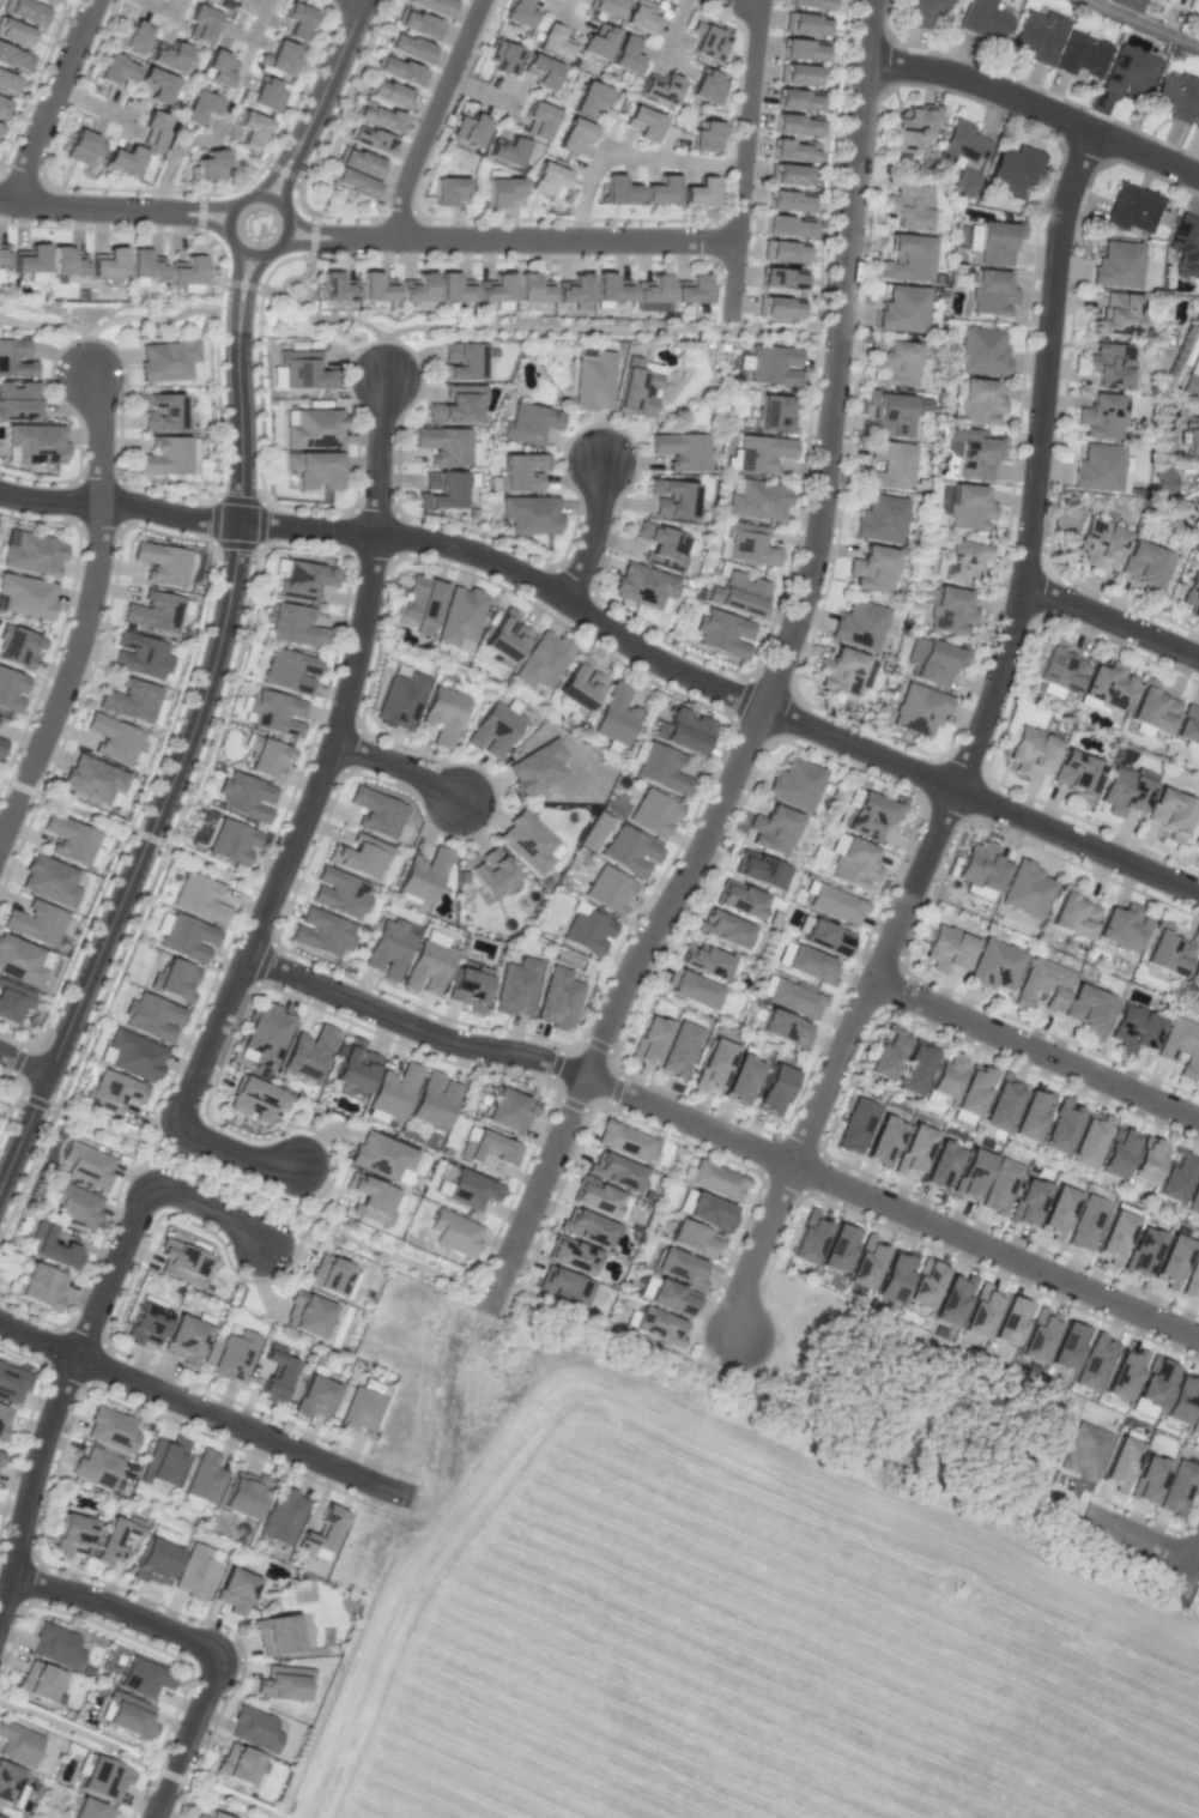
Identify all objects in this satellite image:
building: (1107, 0)
building: (48, 1)
street lamp: (773, 2)
building: (810, 4)
building: (1128, 4)
building: (1179, 4)
building: (237, 5)
road: (745, 5)
building: (926, 5)
street lamp: (110, 6)
building: (432, 6)
road: (161, 7)
road: (565, 7)
building: (606, 7)
building: (24, 11)
building: (516, 12)
building: (640, 16)
building: (983, 19)
building: (297, 20)
building: (200, 23)
building: (417, 23)
road: (1144, 23)
building: (805, 24)
building: (14, 32)
building: (1037, 35)
road: (671, 36)
building: (132, 37)
road: (255, 37)
building: (551, 42)
building: (597, 42)
building: (708, 42)
building: (407, 47)
building: (801, 49)
building: (625, 54)
building: (1082, 54)
building: (168, 55)
building: (501, 56)
building: (281, 58)
building: (13, 59)
road: (334, 66)
building: (115, 68)
building: (218, 68)
building: (398, 70)
building: (539, 71)
building: (1130, 71)
building: (798, 74)
building: (7, 83)
building: (156, 84)
building: (707, 86)
building: (659, 87)
road: (482, 91)
building: (387, 92)
building: (267, 95)
building: (1176, 97)
building: (589, 98)
building: (797, 99)
road: (50, 101)
road: (95, 104)
building: (2, 105)
road: (1035, 105)
building: (199, 107)
building: (377, 116)
road: (434, 116)
building: (538, 119)
building: (642, 122)
building: (0, 125)
building: (795, 125)
building: (1197, 125)
building: (913, 126)
building: (250, 128)
building: (156, 129)
building: (468, 129)
building: (574, 134)
building: (707, 137)
building: (369, 139)
building: (83, 146)
road: (176, 150)
building: (505, 150)
building: (793, 150)
building: (963, 155)
road: (629, 157)
building: (123, 159)
road: (743, 159)
building: (359, 162)
road: (278, 163)
building: (211, 164)
building: (1012, 168)
road: (292, 170)
building: (788, 174)
building: (547, 180)
building: (352, 182)
street lamp: (390, 186)
street lamp: (295, 187)
building: (447, 189)
building: (499, 189)
building: (618, 191)
building: (661, 191)
building: (700, 192)
street lamp: (213, 194)
building: (786, 200)
building: (908, 206)
road: (84, 207)
road: (202, 207)
building: (1131, 207)
road: (281, 210)
street lamp: (11, 221)
road: (200, 221)
street lamp: (87, 224)
building: (786, 225)
road: (316, 229)
street lamp: (750, 231)
road: (543, 238)
building: (994, 242)
street lamp: (1076, 242)
road: (316, 244)
building: (1185, 244)
building: (783, 250)
street lamp: (303, 252)
building: (2, 254)
street lamp: (398, 255)
building: (907, 258)
building: (30, 259)
building: (66, 261)
building: (108, 261)
building: (145, 264)
building: (1116, 265)
building: (187, 273)
building: (780, 278)
building: (375, 286)
building: (453, 286)
building: (417, 288)
building: (531, 289)
building: (337, 290)
building: (496, 290)
building: (574, 290)
building: (608, 290)
building: (691, 290)
road: (236, 292)
building: (989, 292)
building: (650, 294)
road: (247, 295)
building: (777, 308)
building: (902, 309)
building: (1119, 314)
park: (110, 318)
park: (471, 318)
road: (108, 321)
street lamp: (255, 321)
building: (1195, 324)
building: (981, 351)
road: (89, 354)
building: (14, 358)
building: (168, 361)
building: (461, 361)
building: (896, 363)
building: (771, 364)
building: (1108, 366)
building: (303, 369)
building: (593, 381)
building: (1191, 381)
building: (636, 388)
building: (18, 400)
building: (977, 401)
building: (456, 404)
building: (159, 410)
building: (774, 413)
building: (888, 413)
street lamp: (223, 416)
building: (1100, 416)
building: (529, 423)
building: (314, 428)
road: (98, 436)
building: (1191, 437)
building: (35, 443)
building: (443, 443)
building: (682, 451)
building: (973, 452)
building: (761, 453)
road: (379, 454)
building: (166, 455)
building: (890, 465)
building: (1097, 467)
building: (316, 469)
building: (521, 471)
building: (1162, 479)
building: (442, 488)
street lamp: (1053, 488)
building: (673, 499)
road: (49, 500)
building: (757, 500)
building: (967, 507)
building: (529, 514)
building: (1198, 515)
building: (880, 519)
road: (236, 520)
road: (593, 534)
building: (1098, 542)
building: (746, 544)
building: (662, 545)
street lamp: (333, 548)
building: (31, 552)
street lamp: (252, 560)
building: (961, 561)
building: (162, 562)
building: (1144, 563)
building: (872, 568)
building: (302, 579)
street lamp: (74, 582)
building: (643, 585)
building: (738, 593)
building: (26, 596)
street lamp: (1000, 596)
building: (419, 603)
street lamp: (549, 611)
building: (950, 611)
building: (153, 612)
building: (459, 617)
road: (1109, 620)
building: (858, 624)
building: (295, 626)
building: (723, 633)
building: (505, 638)
building: (19, 647)
building: (140, 656)
building: (541, 660)
building: (937, 663)
road: (1000, 663)
street lamp: (759, 668)
building: (1056, 669)
building: (289, 670)
building: (840, 671)
road: (65, 674)
street lamp: (655, 680)
road: (771, 681)
street lamp: (188, 684)
building: (577, 684)
building: (1106, 685)
building: (11, 689)
street lamp: (1011, 694)
building: (131, 700)
building: (399, 700)
street lamp: (77, 702)
building: (1151, 707)
building: (918, 708)
building: (274, 713)
building: (442, 714)
road: (782, 714)
building: (614, 715)
building: (1187, 724)
building: (492, 730)
building: (684, 731)
building: (113, 738)
building: (1, 744)
building: (1030, 749)
building: (267, 757)
road: (398, 763)
building: (535, 767)
building: (659, 767)
road: (174, 774)
building: (1073, 774)
park: (4, 777)
road: (4, 778)
building: (92, 778)
building: (794, 784)
road: (22, 786)
street lamp: (909, 789)
building: (1125, 790)
building: (246, 796)
street lamp: (498, 802)
street lamp: (1036, 804)
park: (84, 811)
road: (84, 811)
building: (375, 811)
building: (653, 813)
building: (1169, 813)
building: (868, 814)
street lamp: (170, 829)
building: (771, 829)
road: (147, 835)
road: (296, 835)
building: (1195, 835)
building: (68, 839)
building: (231, 841)
building: (528, 841)
building: (629, 851)
building: (1198, 852)
building: (358, 856)
road: (207, 863)
building: (854, 864)
park: (207, 865)
building: (981, 866)
building: (758, 869)
building: (488, 871)
building: (422, 875)
building: (49, 880)
building: (607, 889)
building: (1025, 889)
building: (338, 892)
street lamp: (931, 892)
building: (198, 898)
building: (739, 898)
building: (835, 904)
building: (1071, 913)
building: (37, 923)
building: (722, 928)
building: (1120, 928)
building: (587, 931)
building: (321, 932)
building: (184, 936)
building: (825, 937)
building: (387, 949)
building: (946, 949)
building: (1165, 949)
building: (20, 960)
building: (703, 960)
building: (810, 965)
building: (994, 965)
building: (426, 967)
street lamp: (856, 967)
building: (1194, 968)
building: (174, 980)
building: (468, 983)
building: (1041, 984)
building: (515, 986)
building: (690, 989)
building: (558, 998)
building: (793, 998)
building: (12, 1002)
building: (1086, 1009)
building: (151, 1017)
street lamp: (346, 1017)
street lamp: (916, 1019)
building: (783, 1028)
building: (1133, 1028)
building: (265, 1035)
street lamp: (1049, 1035)
building: (648, 1039)
street lamp: (618, 1040)
building: (1180, 1045)
building: (679, 1049)
road: (1036, 1049)
building: (307, 1052)
building: (885, 1053)
building: (132, 1055)
road: (24, 1062)
street lamp: (219, 1062)
building: (711, 1064)
building: (353, 1068)
building: (913, 1068)
building: (945, 1075)
building: (740, 1079)
street lamp: (847, 1079)
building: (1198, 1082)
park: (12, 1087)
building: (774, 1089)
building: (111, 1091)
building: (393, 1091)
building: (971, 1091)
building: (255, 1099)
building: (432, 1100)
building: (508, 1111)
building: (1029, 1115)
street lamp: (1147, 1117)
building: (855, 1125)
building: (1058, 1127)
street lamp: (156, 1133)
road: (725, 1135)
street lamp: (769, 1135)
street lamp: (682, 1136)
building: (623, 1140)
building: (883, 1140)
building: (1086, 1140)
building: (485, 1147)
building: (913, 1150)
road: (231, 1152)
building: (1115, 1154)
building: (380, 1155)
building: (1146, 1160)
building: (84, 1165)
building: (939, 1165)
building: (613, 1171)
building: (971, 1172)
building: (1173, 1176)
building: (716, 1180)
building: (999, 1185)
building: (470, 1190)
street lamp: (816, 1194)
building: (1192, 1194)
street lamp: (912, 1195)
park: (264, 1197)
road: (261, 1198)
building: (371, 1198)
building: (599, 1198)
building: (1025, 1201)
street lamp: (119, 1202)
building: (75, 1204)
building: (709, 1210)
road: (207, 1212)
building: (1056, 1212)
building: (1084, 1221)
building: (586, 1227)
building: (454, 1233)
building: (1114, 1233)
building: (807, 1237)
building: (691, 1238)
building: (52, 1246)
road: (758, 1248)
building: (836, 1248)
building: (1143, 1250)
building: (570, 1254)
building: (1171, 1261)
building: (181, 1262)
building: (865, 1262)
building: (679, 1267)
building: (328, 1274)
building: (892, 1275)
street lamp: (1012, 1276)
building: (1192, 1278)
building: (924, 1284)
building: (562, 1285)
building: (41, 1286)
street lamp: (1140, 1293)
building: (672, 1297)
building: (951, 1299)
building: (307, 1313)
building: (1010, 1321)
building: (145, 1323)
building: (656, 1324)
street lamp: (107, 1325)
building: (1036, 1337)
building: (184, 1339)
building: (1067, 1345)
building: (235, 1355)
building: (1094, 1361)
building: (273, 1371)
building: (1124, 1372)
building: (1153, 1382)
building: (12, 1383)
building: (314, 1396)
road: (56, 1397)
building: (1180, 1399)
road: (202, 1408)
building: (359, 1409)
building: (4, 1420)
building: (1194, 1424)
street lamp: (201, 1429)
building: (110, 1430)
street lamp: (317, 1439)
building: (0, 1454)
building: (161, 1461)
building: (1119, 1463)
building: (95, 1467)
building: (204, 1478)
building: (1146, 1479)
building: (1176, 1487)
building: (243, 1494)
building: (284, 1515)
building: (321, 1533)
building: (71, 1534)
road: (1137, 1535)
building: (114, 1539)
road: (1169, 1548)
building: (155, 1562)
building: (196, 1571)
road: (1187, 1575)
building: (235, 1590)
road: (1181, 1591)
street lamp: (231, 1633)
building: (277, 1635)
road: (195, 1641)
building: (56, 1645)
crop: (732, 1647)
building: (144, 1677)
building: (38, 1680)
building: (283, 1683)
building: (131, 1716)
building: (254, 1728)
park: (79, 1733)
building: (18, 1742)
building: (237, 1763)
building: (103, 1777)
building: (8, 1782)
park: (228, 1795)
building: (204, 1813)

